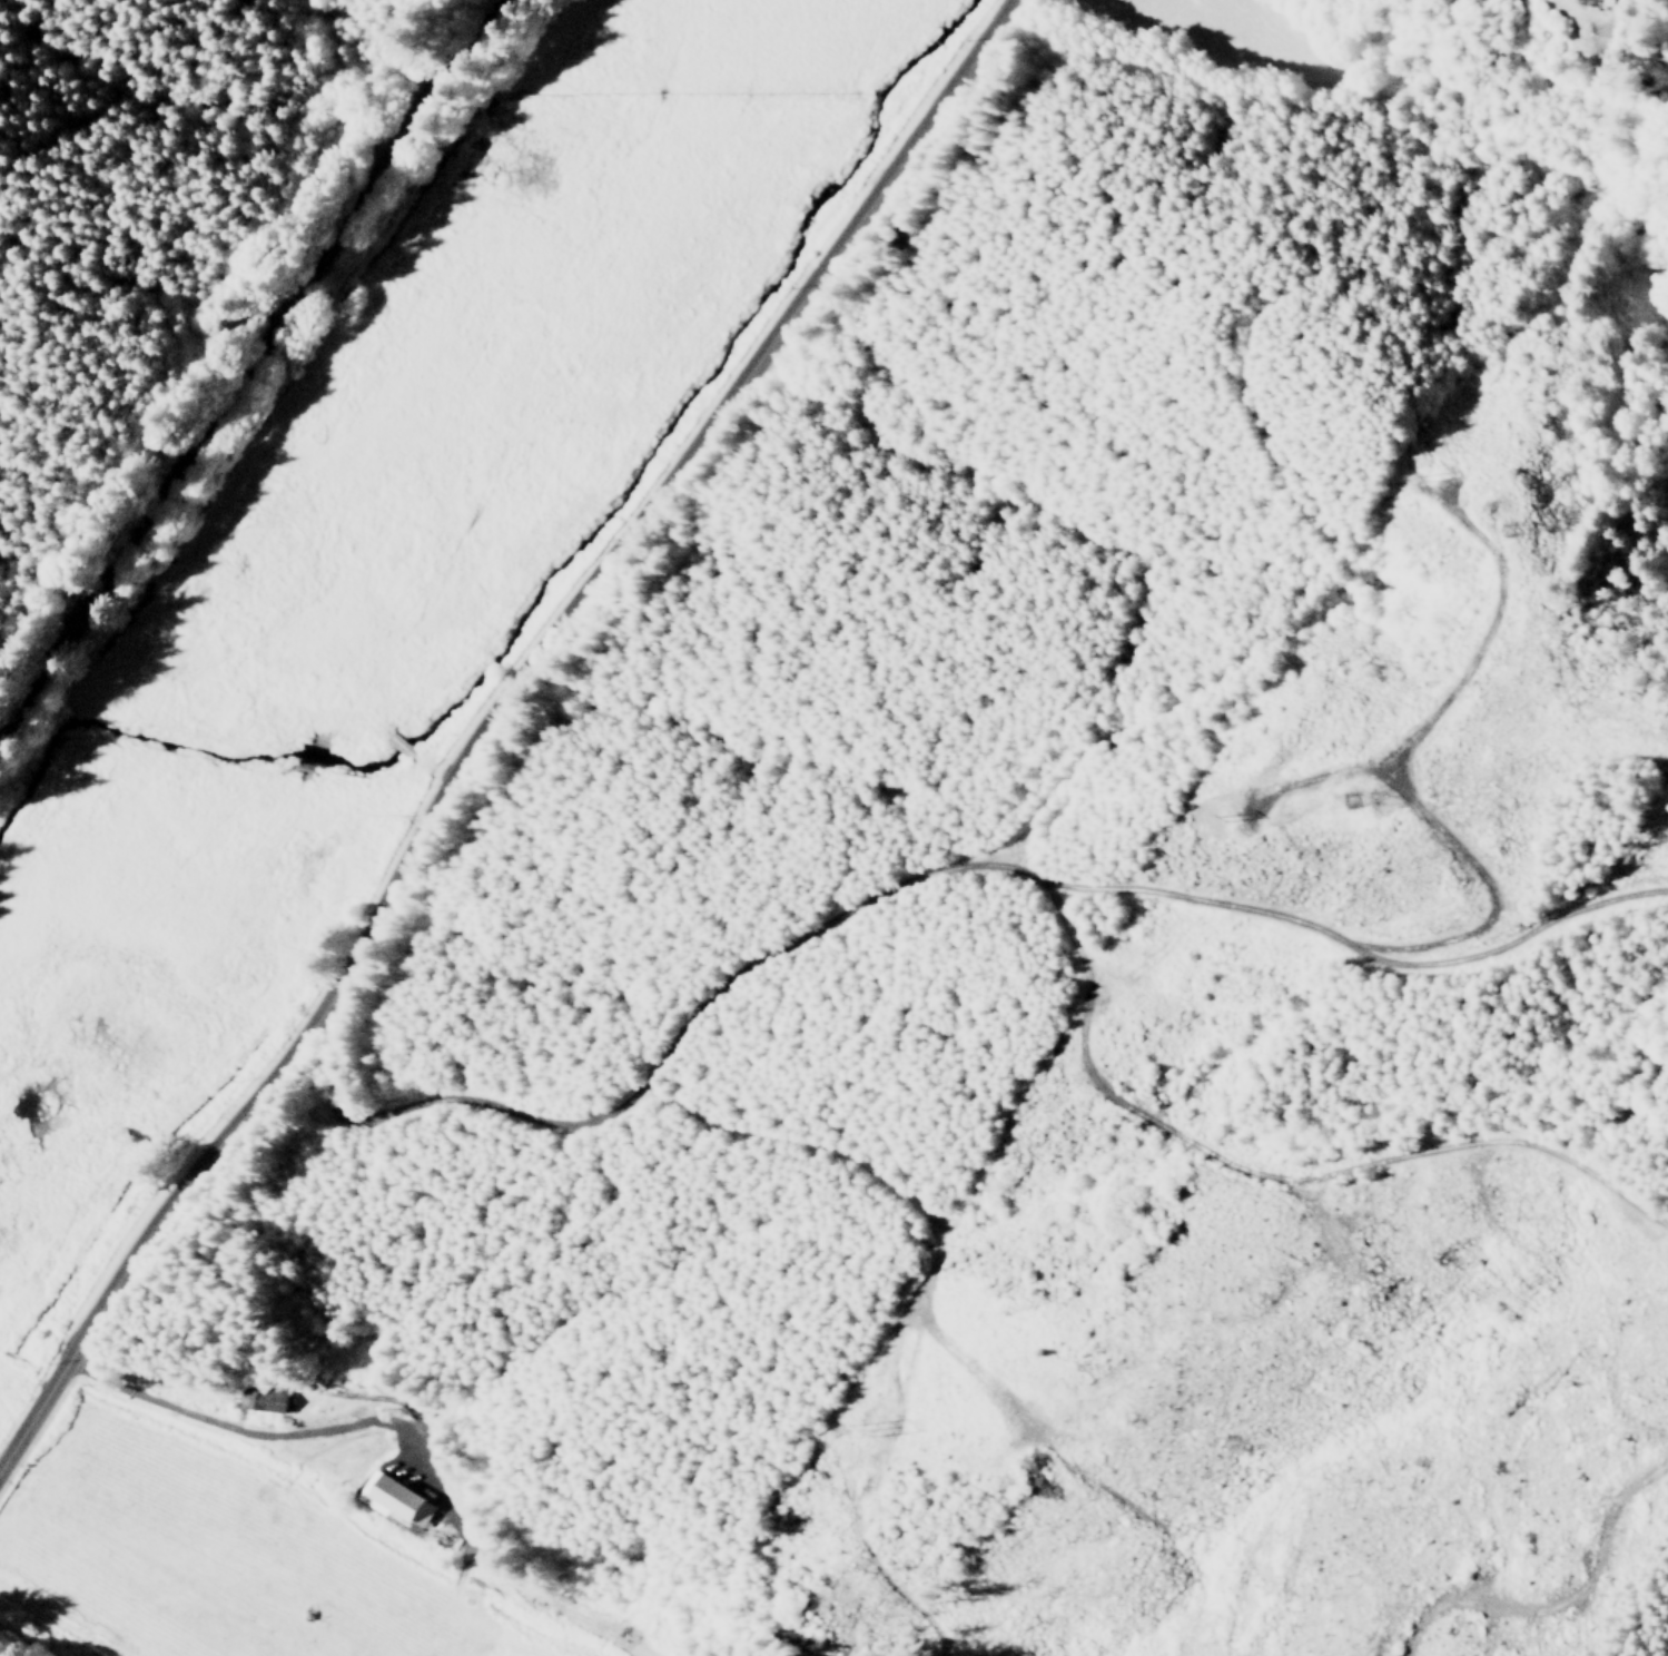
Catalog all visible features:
railway: (245, 371)
power tower: (1497, 529)
road: (495, 728)
power tower: (1338, 800)
power tower: (1225, 814)
building: (263, 1399)
power tower: (870, 1428)
building: (396, 1498)

